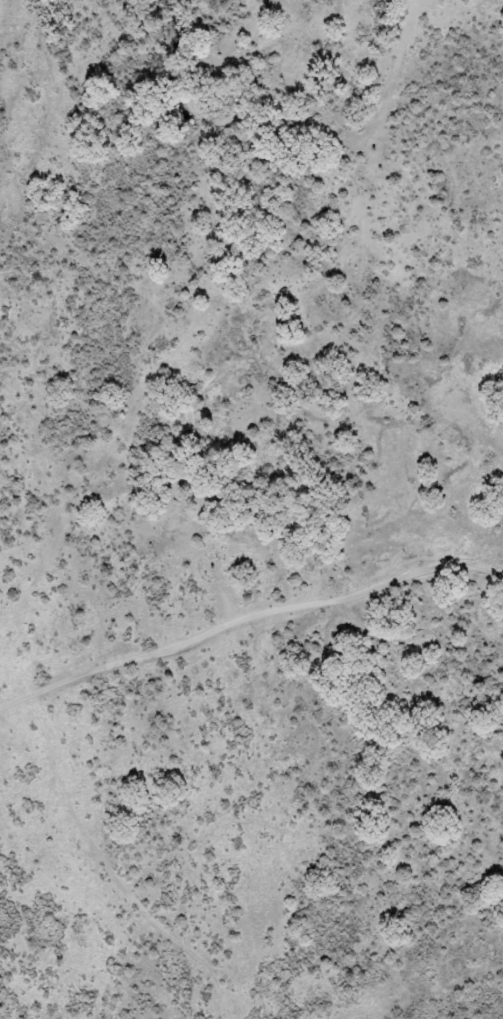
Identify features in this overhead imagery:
road: (247, 617)

